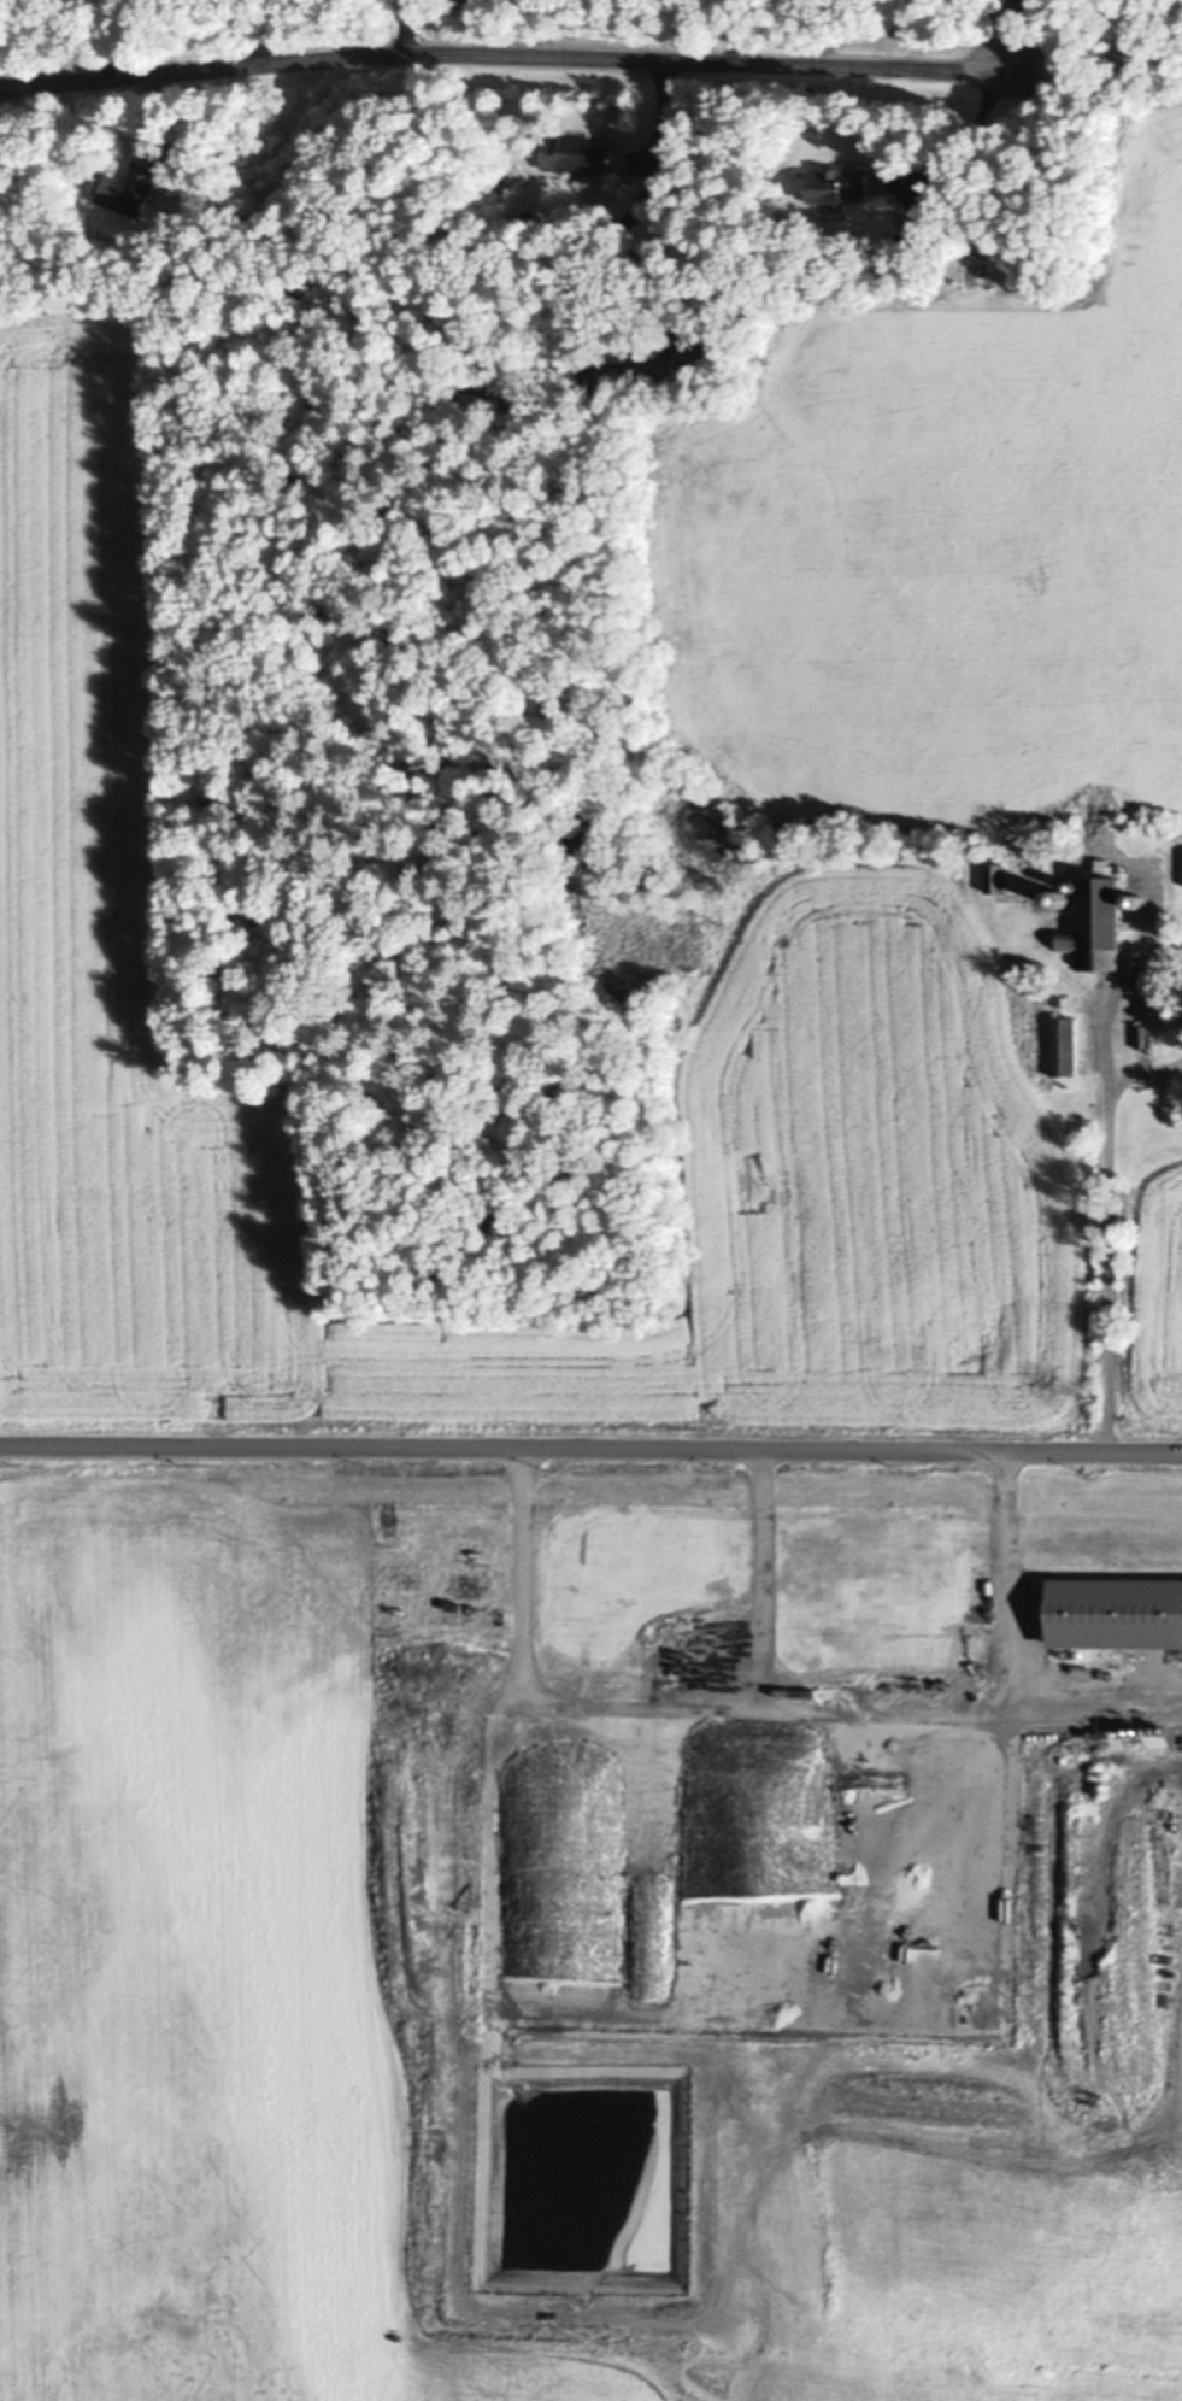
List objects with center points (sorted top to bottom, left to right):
road: (393, 27)
road: (261, 28)
road: (731, 30)
road: (1015, 34)
road: (506, 54)
road: (965, 139)
building: (575, 154)
building: (836, 186)
building: (127, 189)
building: (1099, 927)
building: (1065, 1046)
road: (1100, 1175)
road: (590, 1448)
road: (1005, 1646)
road: (635, 1706)
road: (889, 1721)

